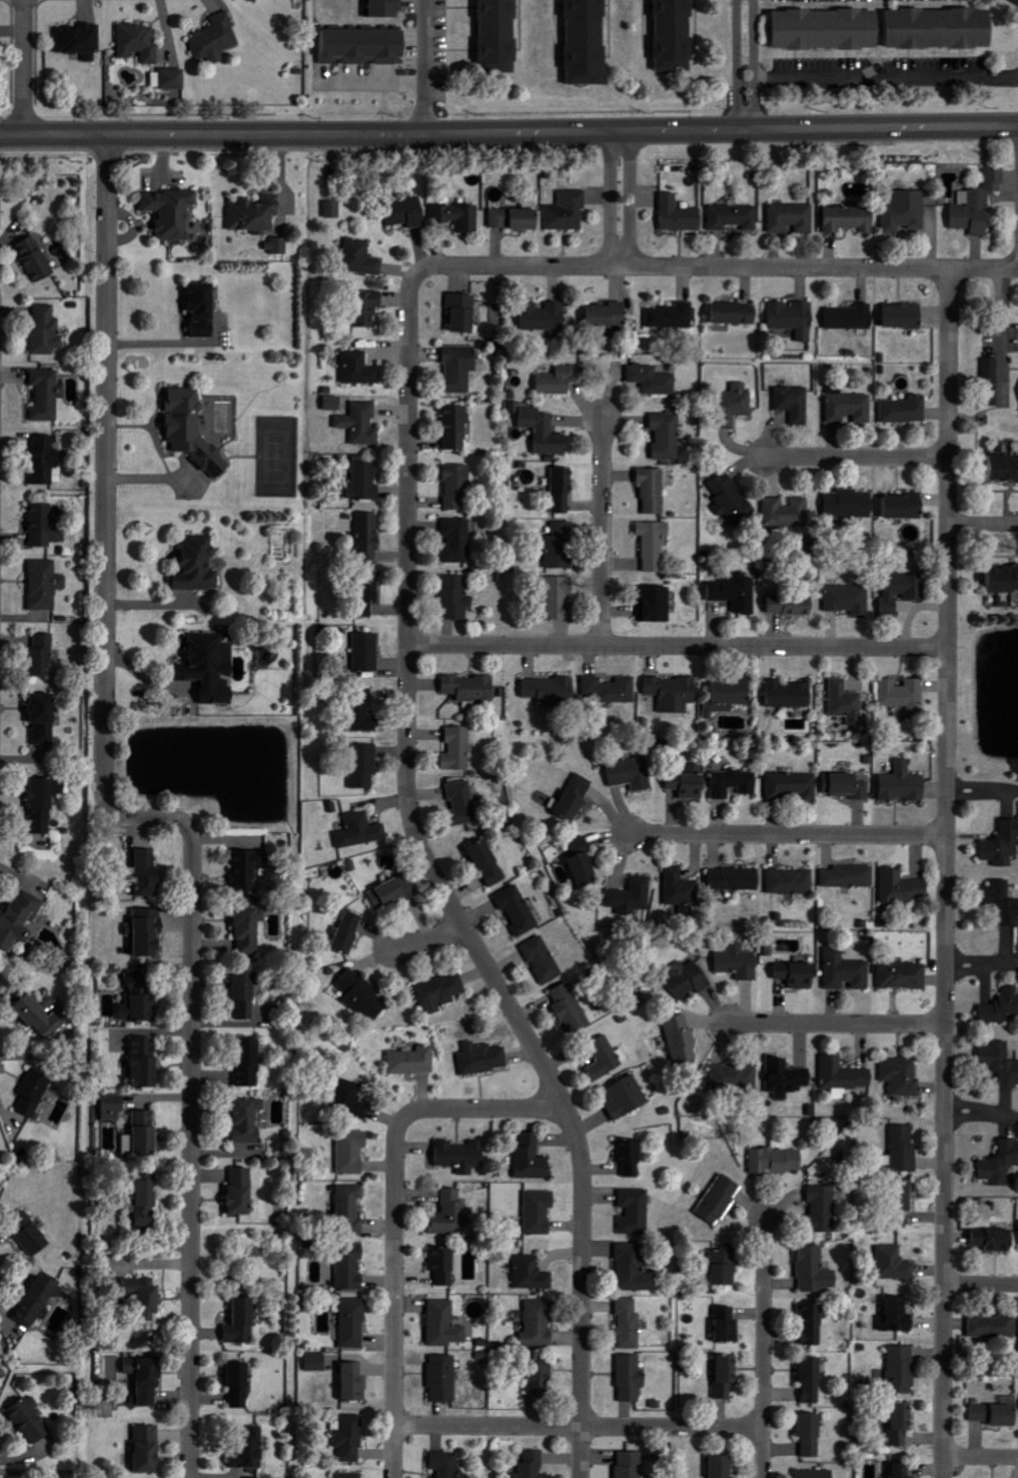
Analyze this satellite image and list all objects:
building: (257, 0)
building: (384, 8)
building: (942, 28)
building: (829, 29)
building: (500, 35)
building: (676, 35)
building: (216, 39)
building: (81, 40)
building: (140, 42)
building: (588, 42)
building: (364, 46)
road: (746, 64)
road: (430, 66)
road: (23, 67)
building: (174, 78)
road: (882, 79)
road: (509, 131)
road: (621, 198)
building: (979, 204)
building: (334, 209)
building: (568, 211)
building: (906, 211)
building: (172, 212)
building: (407, 212)
building: (256, 213)
building: (679, 215)
building: (459, 216)
building: (733, 217)
building: (516, 219)
building: (791, 219)
building: (851, 219)
building: (278, 245)
building: (362, 258)
building: (37, 259)
road: (711, 267)
building: (368, 308)
building: (204, 310)
building: (464, 312)
building: (736, 313)
building: (545, 316)
building: (610, 316)
building: (673, 316)
building: (905, 316)
building: (851, 317)
building: (793, 318)
road: (998, 326)
building: (46, 330)
building: (460, 368)
building: (360, 369)
building: (562, 379)
building: (653, 380)
building: (992, 382)
building: (47, 395)
building: (334, 403)
building: (795, 403)
building: (736, 405)
building: (849, 408)
building: (905, 410)
building: (362, 423)
building: (456, 428)
building: (194, 431)
building: (545, 432)
building: (668, 436)
road: (855, 458)
building: (46, 461)
building: (1003, 470)
building: (366, 479)
building: (457, 486)
building: (563, 490)
building: (653, 490)
building: (733, 499)
building: (851, 504)
building: (906, 507)
building: (787, 513)
road: (983, 520)
building: (42, 525)
road: (602, 532)
building: (370, 538)
building: (457, 540)
building: (655, 544)
building: (561, 546)
building: (199, 564)
building: (1002, 580)
building: (46, 585)
building: (901, 590)
building: (736, 593)
building: (369, 596)
building: (456, 597)
building: (561, 599)
building: (849, 599)
building: (656, 604)
building: (793, 606)
road: (677, 647)
building: (367, 652)
building: (43, 656)
building: (211, 668)
building: (472, 690)
building: (611, 690)
building: (552, 691)
building: (674, 693)
building: (790, 694)
building: (904, 694)
building: (729, 697)
building: (847, 702)
building: (363, 711)
building: (45, 719)
building: (328, 747)
building: (458, 749)
building: (365, 766)
building: (632, 774)
building: (734, 783)
building: (691, 784)
building: (794, 785)
building: (848, 786)
building: (904, 786)
road: (982, 788)
building: (576, 798)
building: (45, 804)
building: (463, 804)
road: (138, 817)
building: (361, 831)
road: (787, 835)
building: (1003, 846)
building: (583, 862)
building: (489, 863)
building: (250, 870)
building: (149, 873)
road: (946, 873)
building: (850, 876)
building: (736, 879)
building: (791, 882)
building: (903, 887)
building: (681, 888)
building: (396, 892)
road: (444, 893)
building: (633, 897)
building: (1001, 902)
building: (519, 910)
building: (20, 920)
building: (250, 929)
building: (349, 933)
building: (148, 934)
road: (426, 941)
building: (768, 951)
building: (544, 960)
building: (739, 962)
road: (982, 964)
building: (591, 971)
building: (846, 972)
building: (799, 975)
building: (904, 976)
building: (689, 978)
building: (441, 993)
building: (246, 996)
building: (364, 996)
building: (141, 1000)
building: (49, 1002)
building: (998, 1006)
building: (571, 1009)
building: (45, 1022)
road: (837, 1024)
building: (682, 1040)
building: (119, 1042)
building: (485, 1059)
building: (605, 1059)
building: (414, 1061)
building: (146, 1063)
building: (249, 1063)
building: (997, 1063)
building: (900, 1075)
building: (845, 1076)
building: (736, 1078)
building: (787, 1078)
building: (34, 1093)
building: (627, 1098)
building: (352, 1100)
building: (114, 1108)
road: (981, 1110)
building: (249, 1119)
building: (143, 1135)
building: (110, 1138)
building: (252, 1148)
building: (899, 1148)
building: (353, 1152)
building: (462, 1156)
building: (631, 1158)
building: (533, 1159)
building: (776, 1160)
building: (996, 1163)
building: (242, 1192)
building: (721, 1199)
building: (148, 1200)
building: (896, 1201)
building: (816, 1208)
building: (351, 1210)
building: (636, 1211)
building: (540, 1212)
building: (451, 1214)
road: (394, 1216)
building: (31, 1235)
building: (1017, 1238)
building: (988, 1240)
building: (889, 1263)
building: (351, 1267)
building: (445, 1267)
building: (716, 1267)
building: (635, 1270)
building: (810, 1270)
building: (533, 1274)
road: (981, 1284)
building: (146, 1297)
building: (39, 1300)
building: (891, 1314)
building: (244, 1324)
building: (354, 1324)
building: (540, 1324)
building: (630, 1324)
building: (720, 1324)
building: (803, 1324)
building: (445, 1325)
building: (987, 1326)
building: (1017, 1345)
road: (764, 1348)
building: (317, 1362)
building: (897, 1369)
building: (720, 1375)
building: (138, 1377)
building: (626, 1377)
building: (538, 1378)
building: (803, 1379)
building: (444, 1380)
building: (231, 1381)
building: (355, 1383)
building: (241, 1386)
building: (991, 1412)
building: (31, 1420)
building: (895, 1423)
road: (579, 1426)
building: (803, 1434)
building: (350, 1438)
building: (148, 1448)
building: (251, 1448)
road: (980, 1458)
building: (446, 1464)
building: (626, 1464)
building: (528, 1465)
building: (711, 1466)
building: (894, 1470)
building: (810, 1473)
building: (350, 1475)

